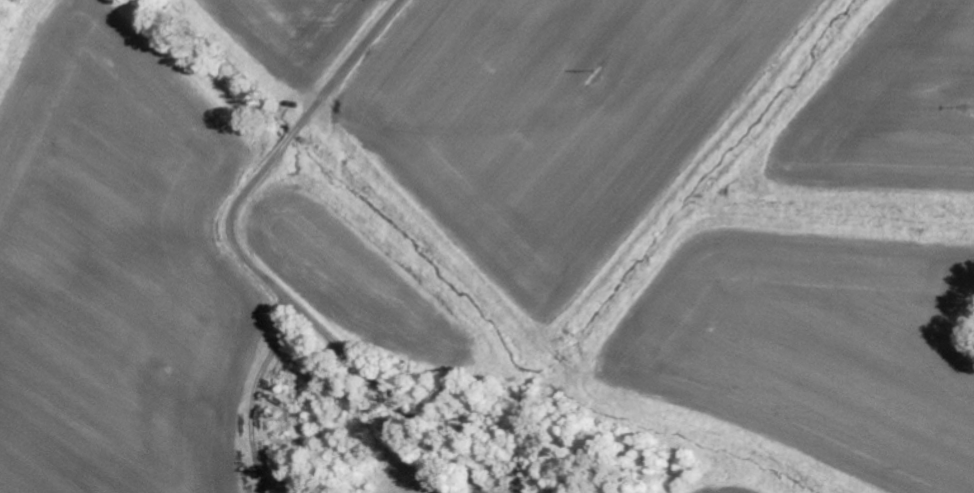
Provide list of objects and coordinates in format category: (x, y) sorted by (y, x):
road: (310, 260)

